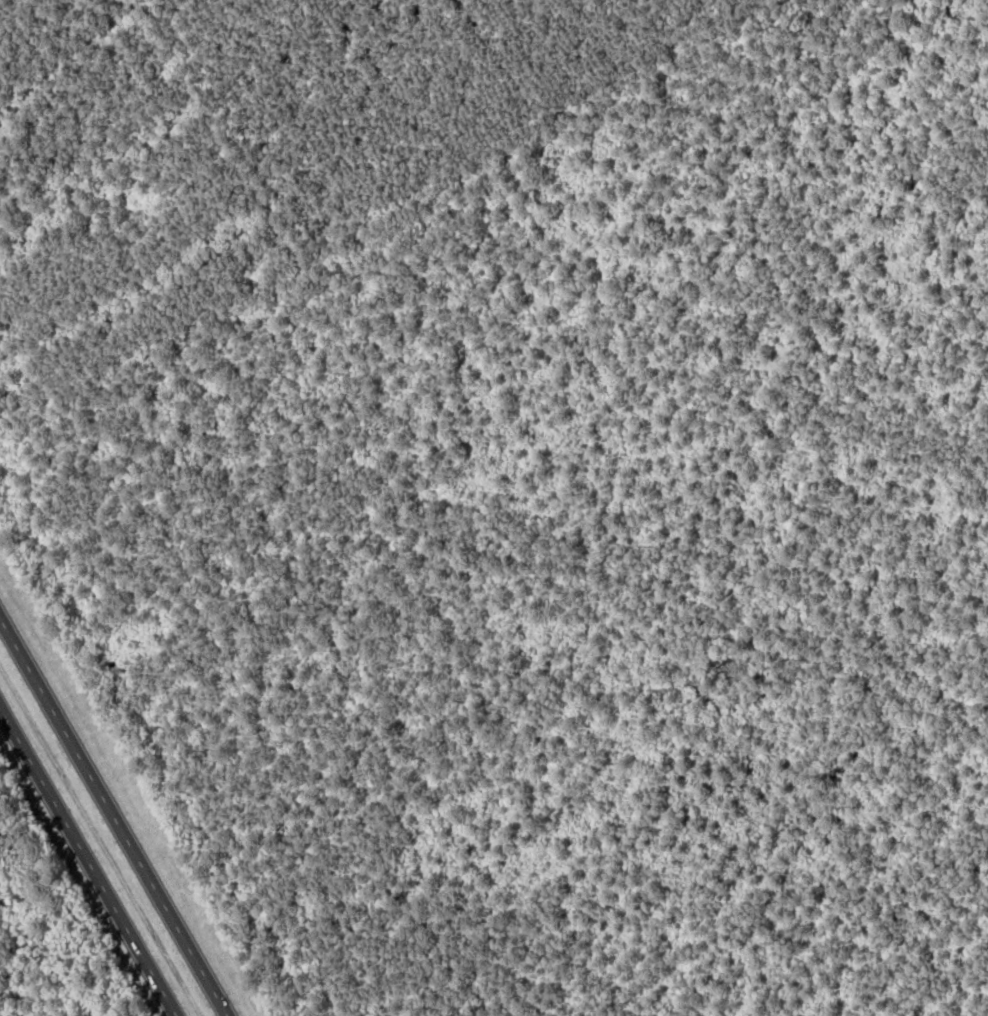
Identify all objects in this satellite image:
road: (112, 819)
road: (88, 862)

